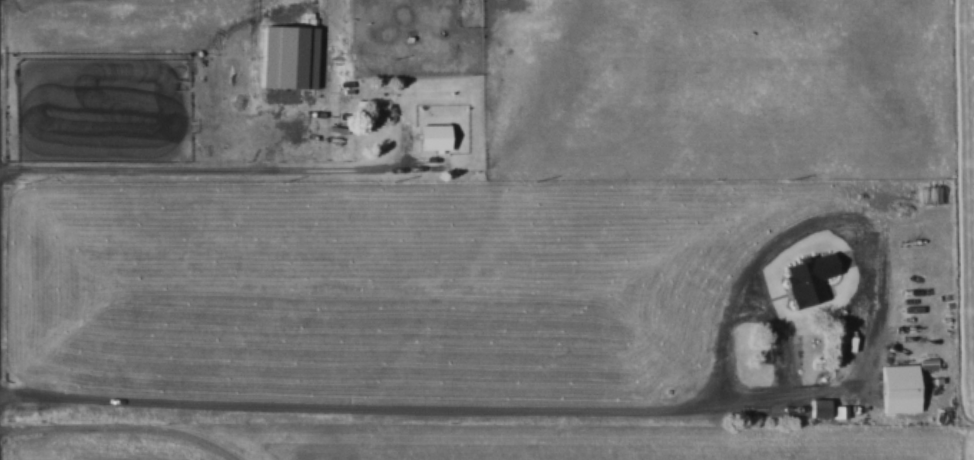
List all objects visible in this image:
building: (433, 137)
road: (209, 166)
building: (812, 275)
road: (768, 311)
building: (900, 387)
road: (356, 403)
building: (819, 407)
road: (123, 424)

